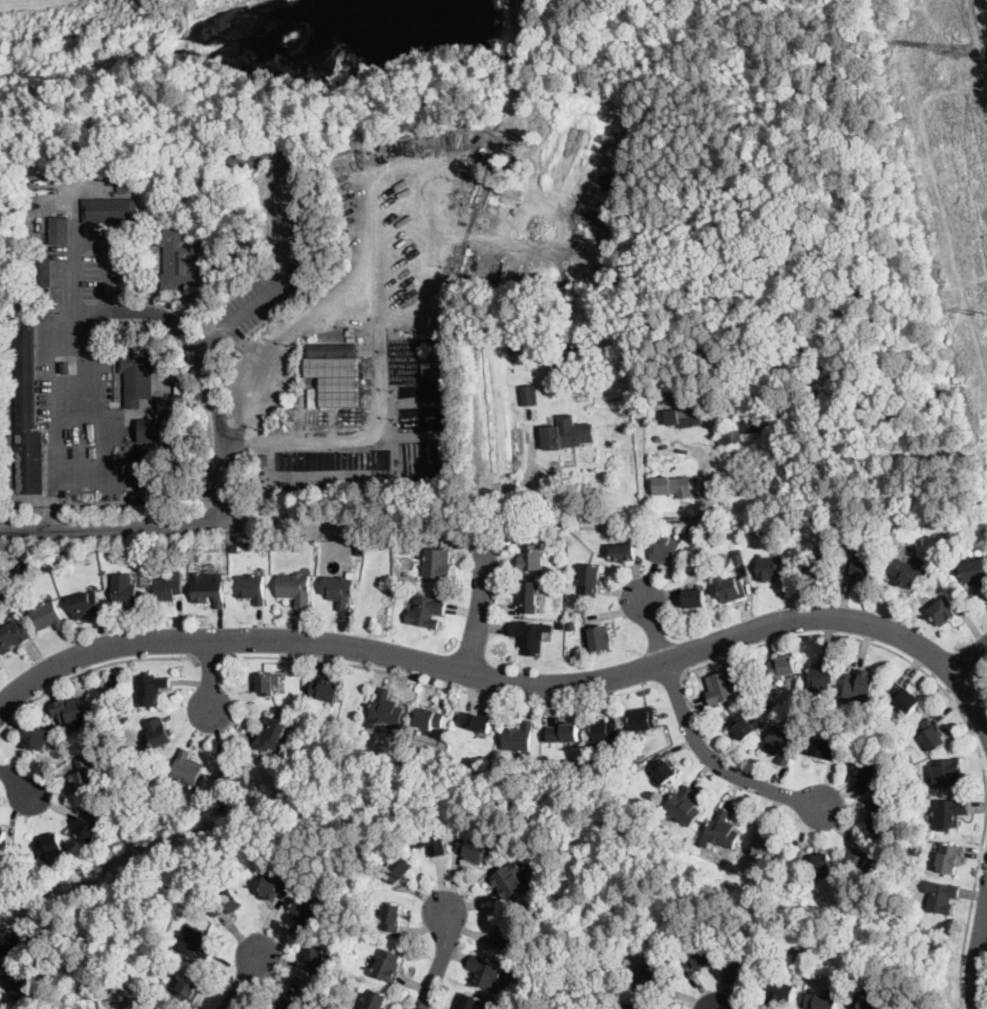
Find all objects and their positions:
road: (620, 21)
road: (980, 27)
power tower: (962, 51)
road: (516, 57)
building: (122, 172)
building: (110, 210)
road: (943, 212)
building: (151, 220)
building: (59, 231)
park: (481, 241)
building: (178, 256)
road: (292, 258)
building: (41, 270)
power tower: (978, 311)
road: (193, 343)
building: (512, 343)
road: (278, 345)
building: (330, 350)
building: (434, 365)
building: (66, 368)
building: (309, 370)
building: (139, 377)
building: (329, 385)
building: (349, 385)
building: (180, 386)
road: (379, 390)
building: (681, 392)
building: (513, 393)
building: (528, 395)
building: (312, 396)
road: (98, 397)
road: (51, 401)
building: (167, 407)
building: (27, 411)
building: (684, 418)
building: (753, 425)
building: (150, 429)
building: (567, 434)
building: (727, 437)
building: (657, 439)
building: (264, 458)
building: (146, 471)
road: (347, 472)
building: (322, 475)
building: (286, 484)
building: (672, 486)
building: (748, 487)
building: (784, 487)
road: (467, 522)
road: (111, 524)
building: (690, 528)
building: (565, 536)
building: (361, 548)
building: (663, 549)
building: (909, 550)
building: (622, 552)
building: (37, 558)
building: (531, 558)
building: (738, 559)
building: (945, 561)
building: (55, 564)
building: (437, 564)
building: (818, 566)
building: (770, 568)
building: (104, 569)
building: (701, 569)
building: (858, 569)
building: (906, 572)
building: (974, 572)
building: (937, 578)
building: (590, 579)
building: (168, 587)
building: (251, 588)
building: (209, 589)
building: (295, 589)
building: (338, 589)
building: (728, 589)
building: (124, 590)
building: (528, 596)
building: (694, 598)
building: (85, 605)
road: (480, 609)
building: (426, 610)
building: (943, 612)
building: (47, 616)
building: (561, 624)
building: (572, 627)
building: (530, 636)
building: (12, 637)
building: (599, 639)
road: (969, 657)
road: (208, 659)
building: (783, 667)
road: (90, 669)
road: (210, 675)
building: (823, 675)
building: (896, 676)
building: (112, 680)
road: (672, 680)
road: (506, 682)
building: (268, 684)
road: (441, 685)
building: (862, 685)
building: (759, 686)
building: (149, 688)
building: (720, 688)
building: (326, 689)
building: (903, 700)
road: (957, 707)
building: (386, 709)
building: (771, 709)
building: (72, 710)
building: (429, 719)
building: (642, 720)
building: (298, 722)
building: (476, 722)
building: (744, 727)
building: (605, 731)
building: (159, 733)
building: (563, 733)
building: (931, 734)
building: (36, 736)
building: (272, 736)
building: (518, 738)
road: (696, 740)
building: (781, 743)
building: (824, 749)
building: (906, 758)
building: (594, 761)
building: (185, 769)
building: (865, 771)
building: (664, 772)
building: (948, 773)
building: (83, 776)
building: (235, 776)
road: (16, 779)
building: (148, 786)
building: (683, 806)
building: (949, 813)
building: (878, 818)
building: (89, 825)
building: (722, 830)
building: (3, 839)
building: (429, 840)
building: (49, 844)
building: (474, 849)
building: (767, 850)
building: (859, 858)
building: (950, 858)
building: (822, 866)
building: (399, 869)
building: (508, 881)
building: (276, 887)
building: (941, 897)
building: (226, 904)
building: (308, 910)
building: (392, 916)
building: (508, 937)
building: (11, 942)
building: (197, 944)
building: (316, 955)
building: (698, 958)
road: (441, 962)
building: (388, 966)
road: (978, 967)
building: (742, 969)
building: (485, 973)
building: (162, 977)
building: (653, 978)
road: (243, 980)
building: (190, 986)
building: (23, 987)
building: (779, 992)
building: (376, 1000)
building: (291, 1001)
building: (821, 1001)
building: (107, 1002)
building: (872, 1002)
building: (475, 1003)
building: (629, 1008)
road: (741, 1008)

